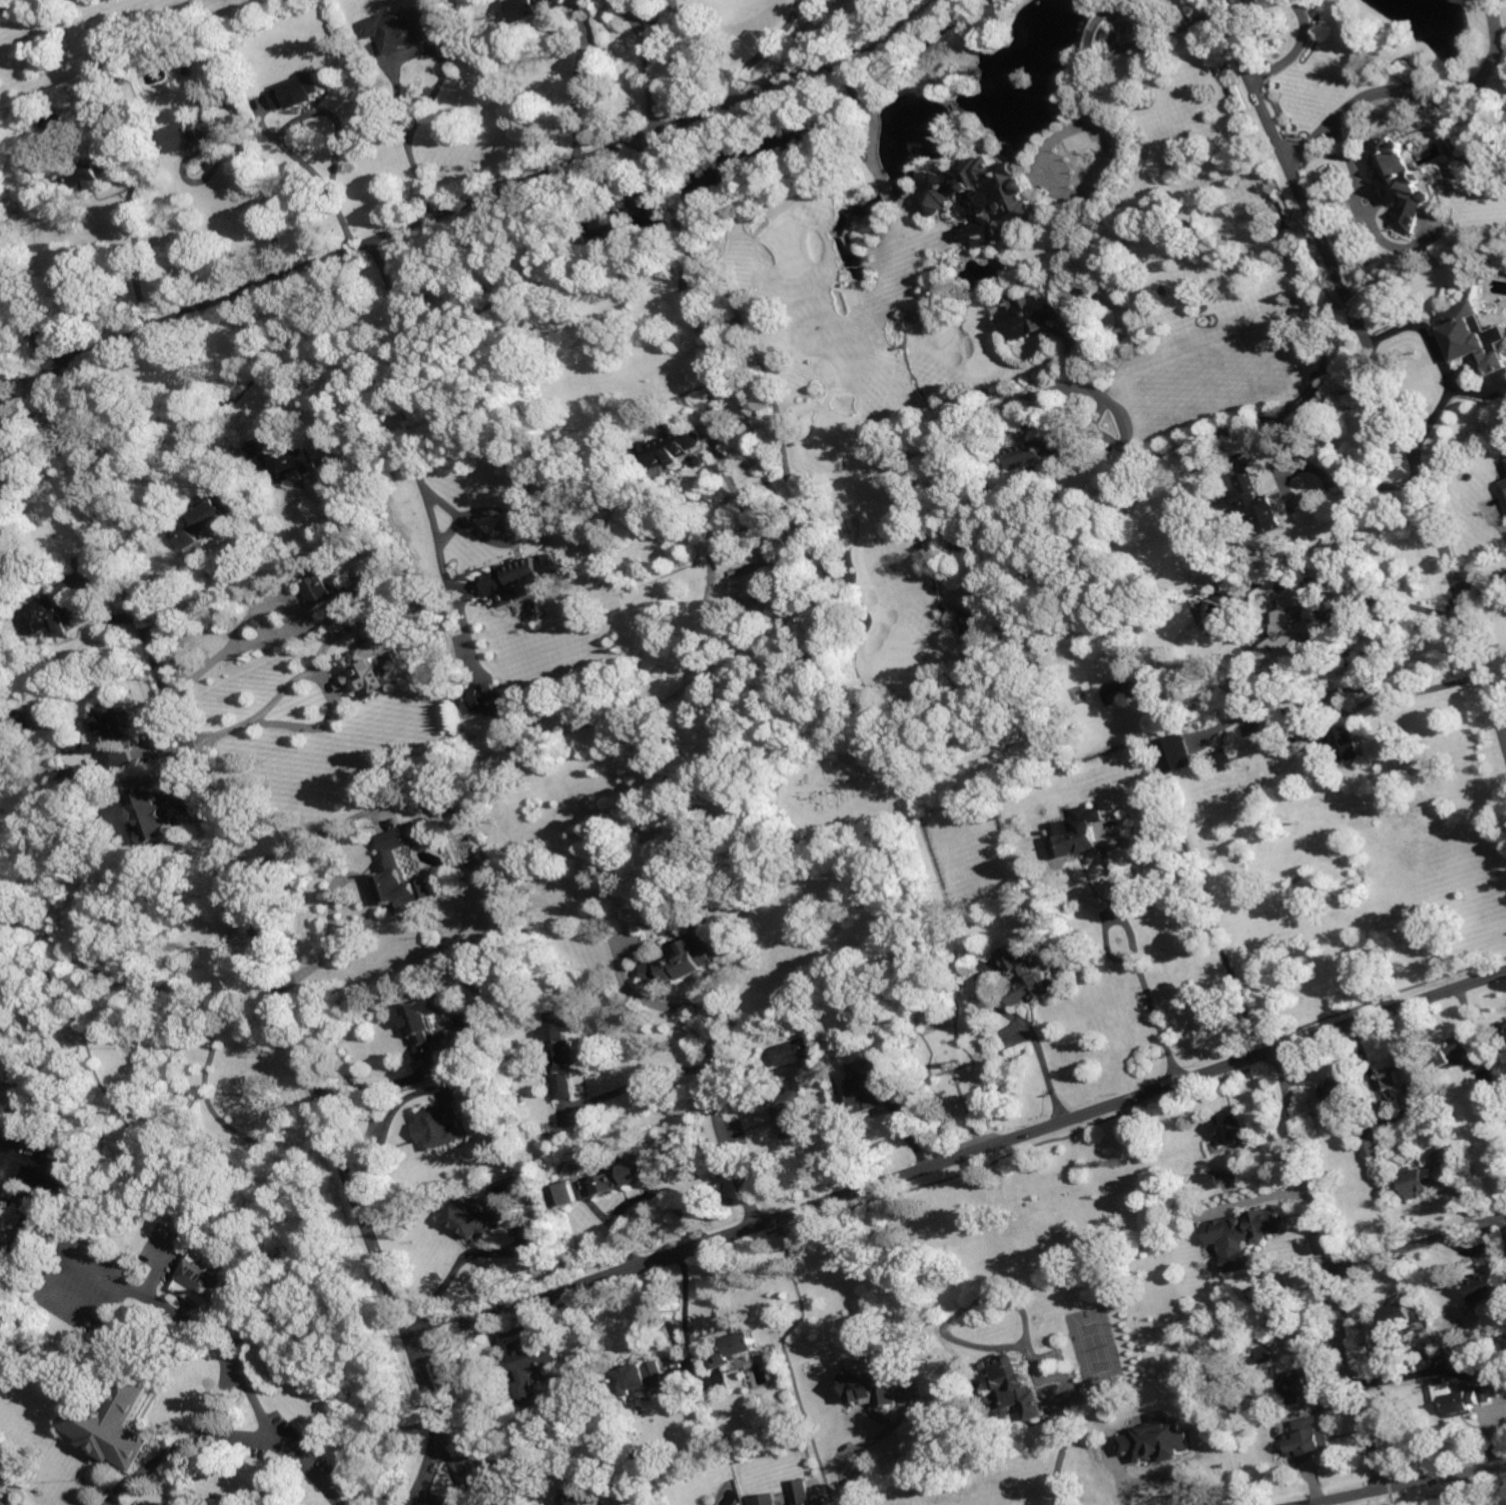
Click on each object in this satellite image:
road: (13, 3)
building: (533, 8)
building: (402, 31)
road: (1296, 49)
building: (1269, 63)
road: (645, 66)
road: (774, 72)
road: (734, 74)
road: (1254, 80)
road: (440, 81)
building: (299, 91)
road: (1420, 93)
road: (575, 94)
building: (109, 111)
road: (331, 117)
road: (1060, 133)
building: (194, 136)
road: (246, 152)
road: (658, 170)
building: (95, 172)
building: (1402, 181)
building: (981, 198)
road: (465, 208)
road: (675, 210)
road: (137, 250)
road: (11, 285)
road: (1079, 306)
building: (1034, 314)
road: (691, 315)
building: (1473, 338)
road: (1440, 361)
road: (275, 366)
road: (413, 414)
building: (727, 425)
building: (340, 429)
road: (1410, 443)
building: (669, 446)
building: (1040, 450)
building: (699, 461)
building: (293, 464)
building: (1204, 465)
building: (1504, 488)
road: (1320, 492)
building: (1256, 506)
building: (209, 517)
building: (736, 556)
building: (392, 557)
building: (513, 577)
road: (1483, 585)
building: (407, 589)
building: (329, 591)
road: (269, 595)
building: (1226, 595)
building: (431, 600)
road: (1394, 604)
building: (55, 616)
building: (973, 627)
building: (1291, 633)
building: (28, 647)
building: (367, 666)
road: (307, 670)
road: (1339, 686)
road: (1498, 686)
building: (1121, 694)
building: (486, 698)
building: (38, 714)
building: (1184, 718)
building: (116, 722)
building: (1335, 742)
building: (1176, 754)
building: (1223, 759)
park: (845, 791)
building: (440, 806)
building: (157, 813)
building: (985, 815)
building: (419, 831)
road: (308, 839)
building: (1072, 839)
road: (236, 864)
building: (399, 876)
building: (1029, 877)
road: (372, 903)
road: (16, 915)
road: (72, 955)
building: (899, 957)
building: (680, 962)
road: (1140, 969)
building: (1026, 978)
road: (144, 981)
road: (669, 1004)
building: (474, 1021)
building: (1505, 1023)
building: (425, 1027)
building: (1504, 1029)
building: (1457, 1051)
road: (1042, 1053)
building: (560, 1055)
road: (413, 1074)
building: (1396, 1075)
road: (653, 1078)
road: (101, 1083)
building: (1493, 1087)
building: (874, 1089)
building: (1339, 1095)
building: (793, 1103)
road: (386, 1124)
building: (437, 1125)
building: (1235, 1127)
road: (725, 1137)
building: (1371, 1149)
building: (1441, 1153)
building: (495, 1154)
road: (960, 1155)
building: (626, 1175)
building: (1210, 1179)
building: (1421, 1181)
building: (173, 1183)
road: (5, 1194)
road: (314, 1194)
building: (566, 1195)
road: (26, 1204)
building: (481, 1220)
building: (1, 1221)
building: (1262, 1225)
building: (0, 1239)
road: (1419, 1244)
road: (19, 1260)
road: (456, 1267)
road: (1331, 1268)
building: (207, 1275)
building: (0, 1279)
building: (1, 1284)
building: (1487, 1287)
road: (136, 1290)
road: (960, 1309)
building: (1398, 1325)
building: (1429, 1350)
building: (732, 1352)
building: (1469, 1355)
building: (1261, 1356)
building: (535, 1364)
road: (232, 1370)
building: (1016, 1377)
building: (642, 1379)
building: (874, 1381)
building: (1297, 1386)
building: (1465, 1398)
road: (1072, 1415)
building: (118, 1424)
building: (1159, 1439)
building: (1311, 1440)
road: (856, 1447)
building: (1104, 1450)
building: (774, 1453)
building: (743, 1456)
building: (638, 1457)
road: (497, 1462)
road: (428, 1471)
road: (1160, 1479)
road: (1404, 1484)
road: (1463, 1489)
building: (659, 1492)
building: (802, 1492)
road: (7, 1496)
road: (12, 1496)
building: (575, 1497)
building: (640, 1499)
building: (770, 1499)
road: (3, 1501)
road: (431, 1501)
road: (0, 1504)

